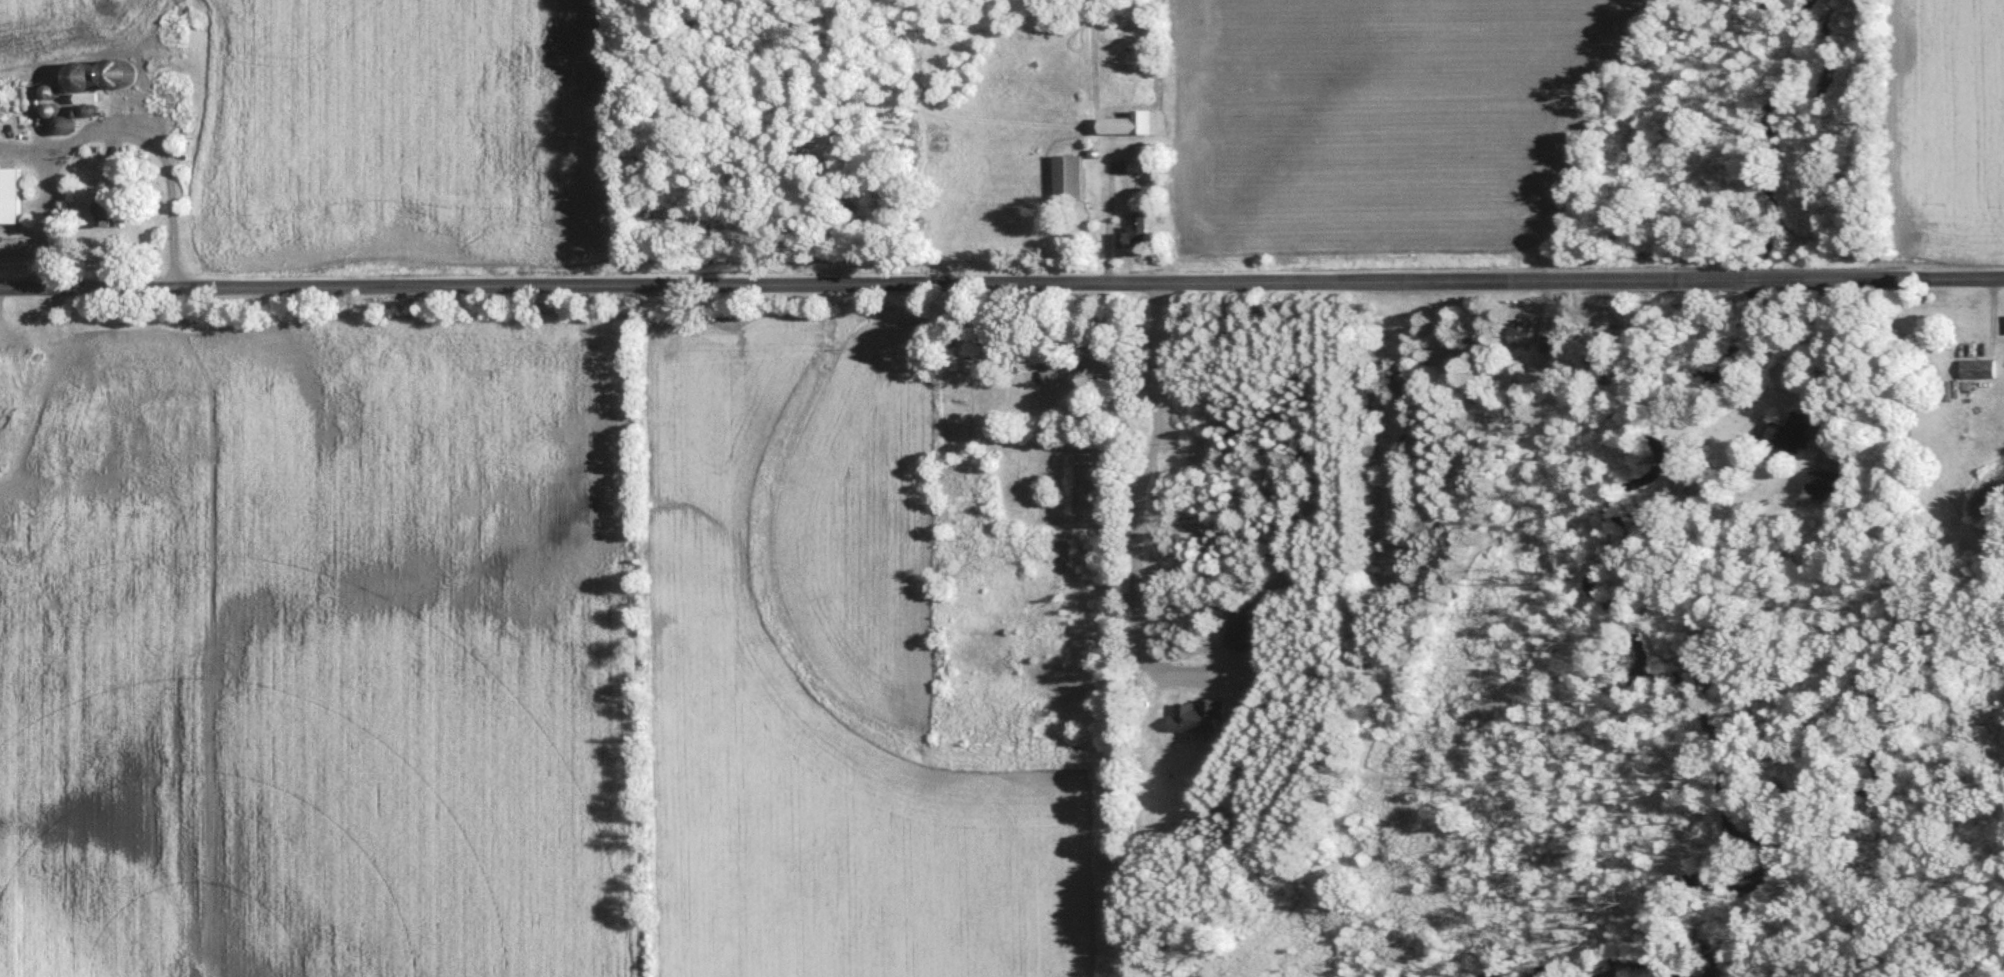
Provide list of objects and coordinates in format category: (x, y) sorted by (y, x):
building: (1135, 127)
road: (109, 136)
building: (1140, 167)
building: (1073, 181)
building: (12, 199)
building: (111, 209)
building: (1141, 233)
road: (1002, 285)
building: (1524, 337)
building: (1980, 373)
building: (1796, 433)

